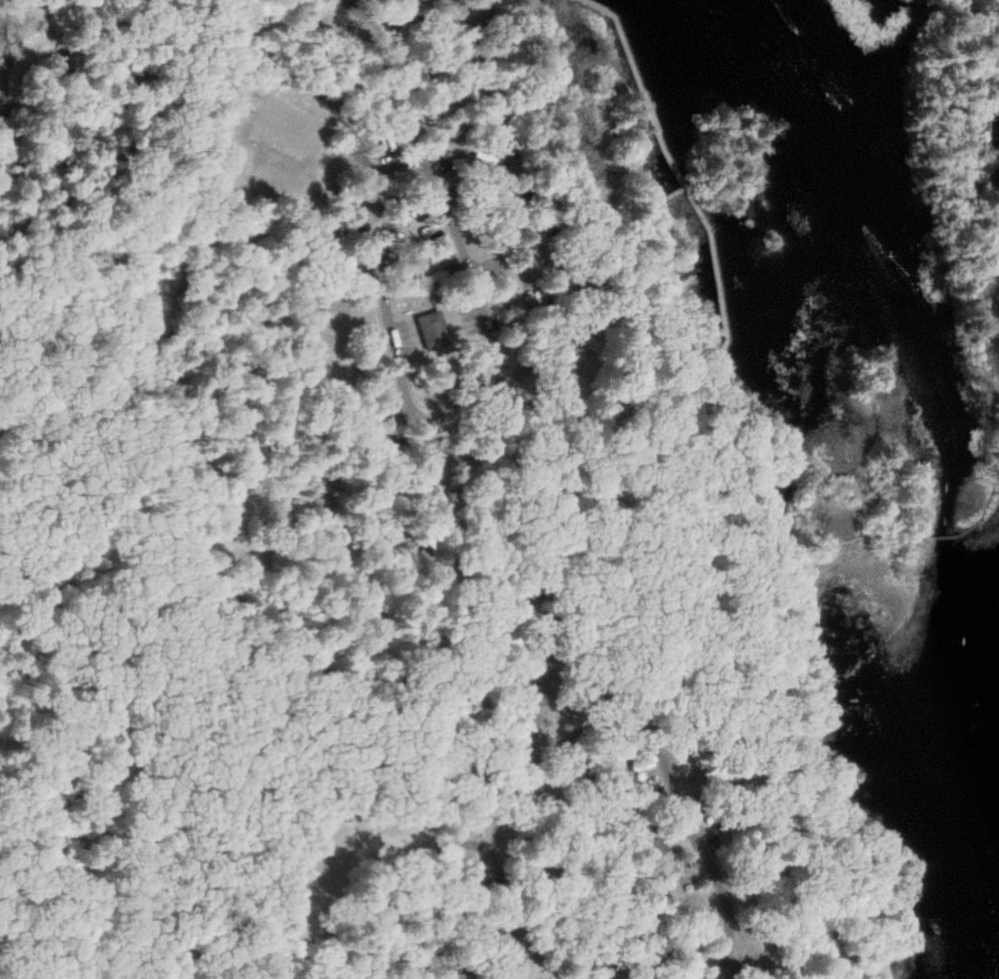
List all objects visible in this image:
road: (408, 10)
road: (406, 20)
road: (469, 71)
road: (448, 139)
road: (385, 174)
road: (681, 181)
road: (949, 197)
road: (622, 233)
road: (566, 303)
building: (433, 331)
building: (576, 367)
road: (998, 391)
park: (467, 473)
road: (302, 510)
road: (985, 513)
road: (944, 535)
road: (839, 543)
road: (498, 549)
road: (785, 669)
road: (572, 711)
road: (564, 740)
road: (615, 857)
building: (686, 900)
road: (143, 913)
road: (450, 969)

